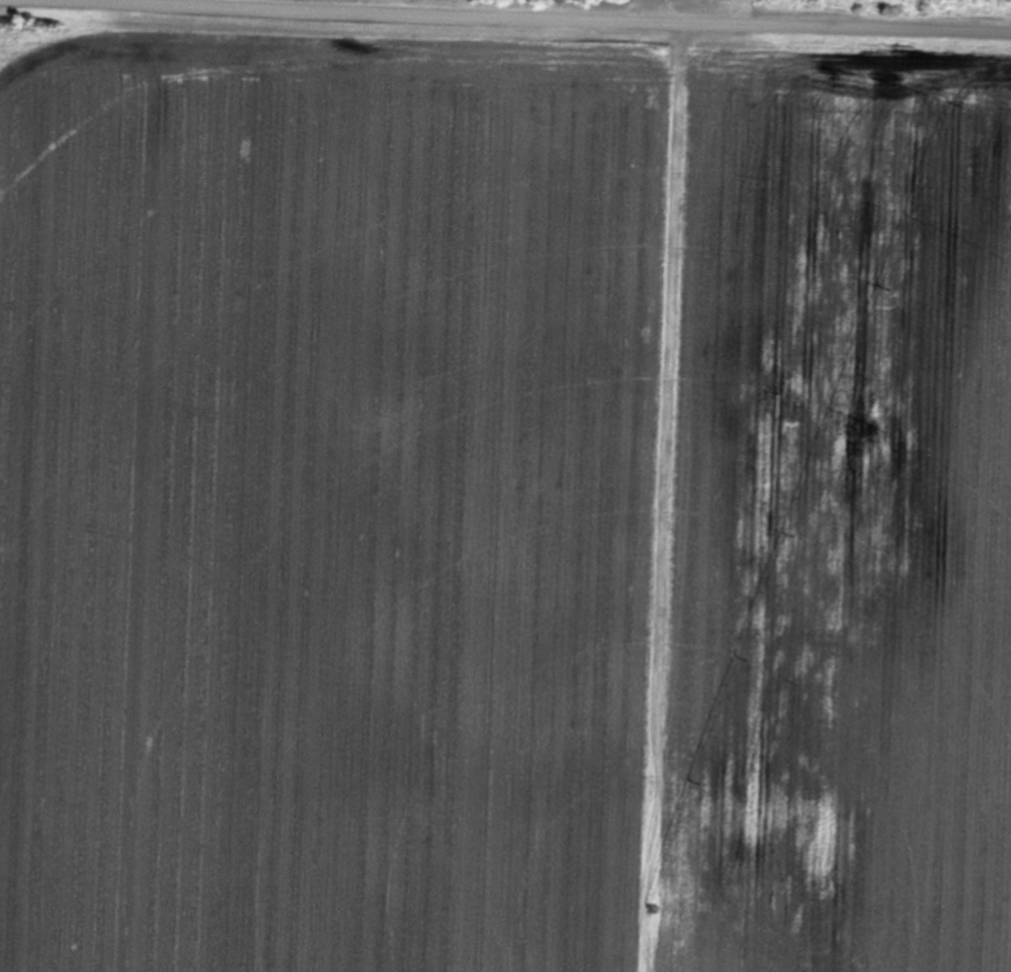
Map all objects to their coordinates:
road: (551, 13)
crop: (502, 498)

